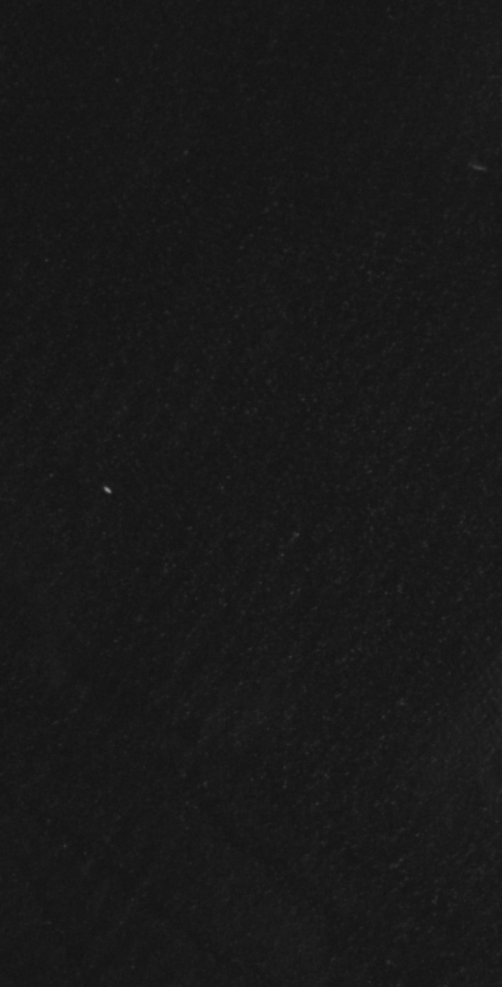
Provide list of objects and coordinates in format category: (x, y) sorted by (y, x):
river: (251, 588)

